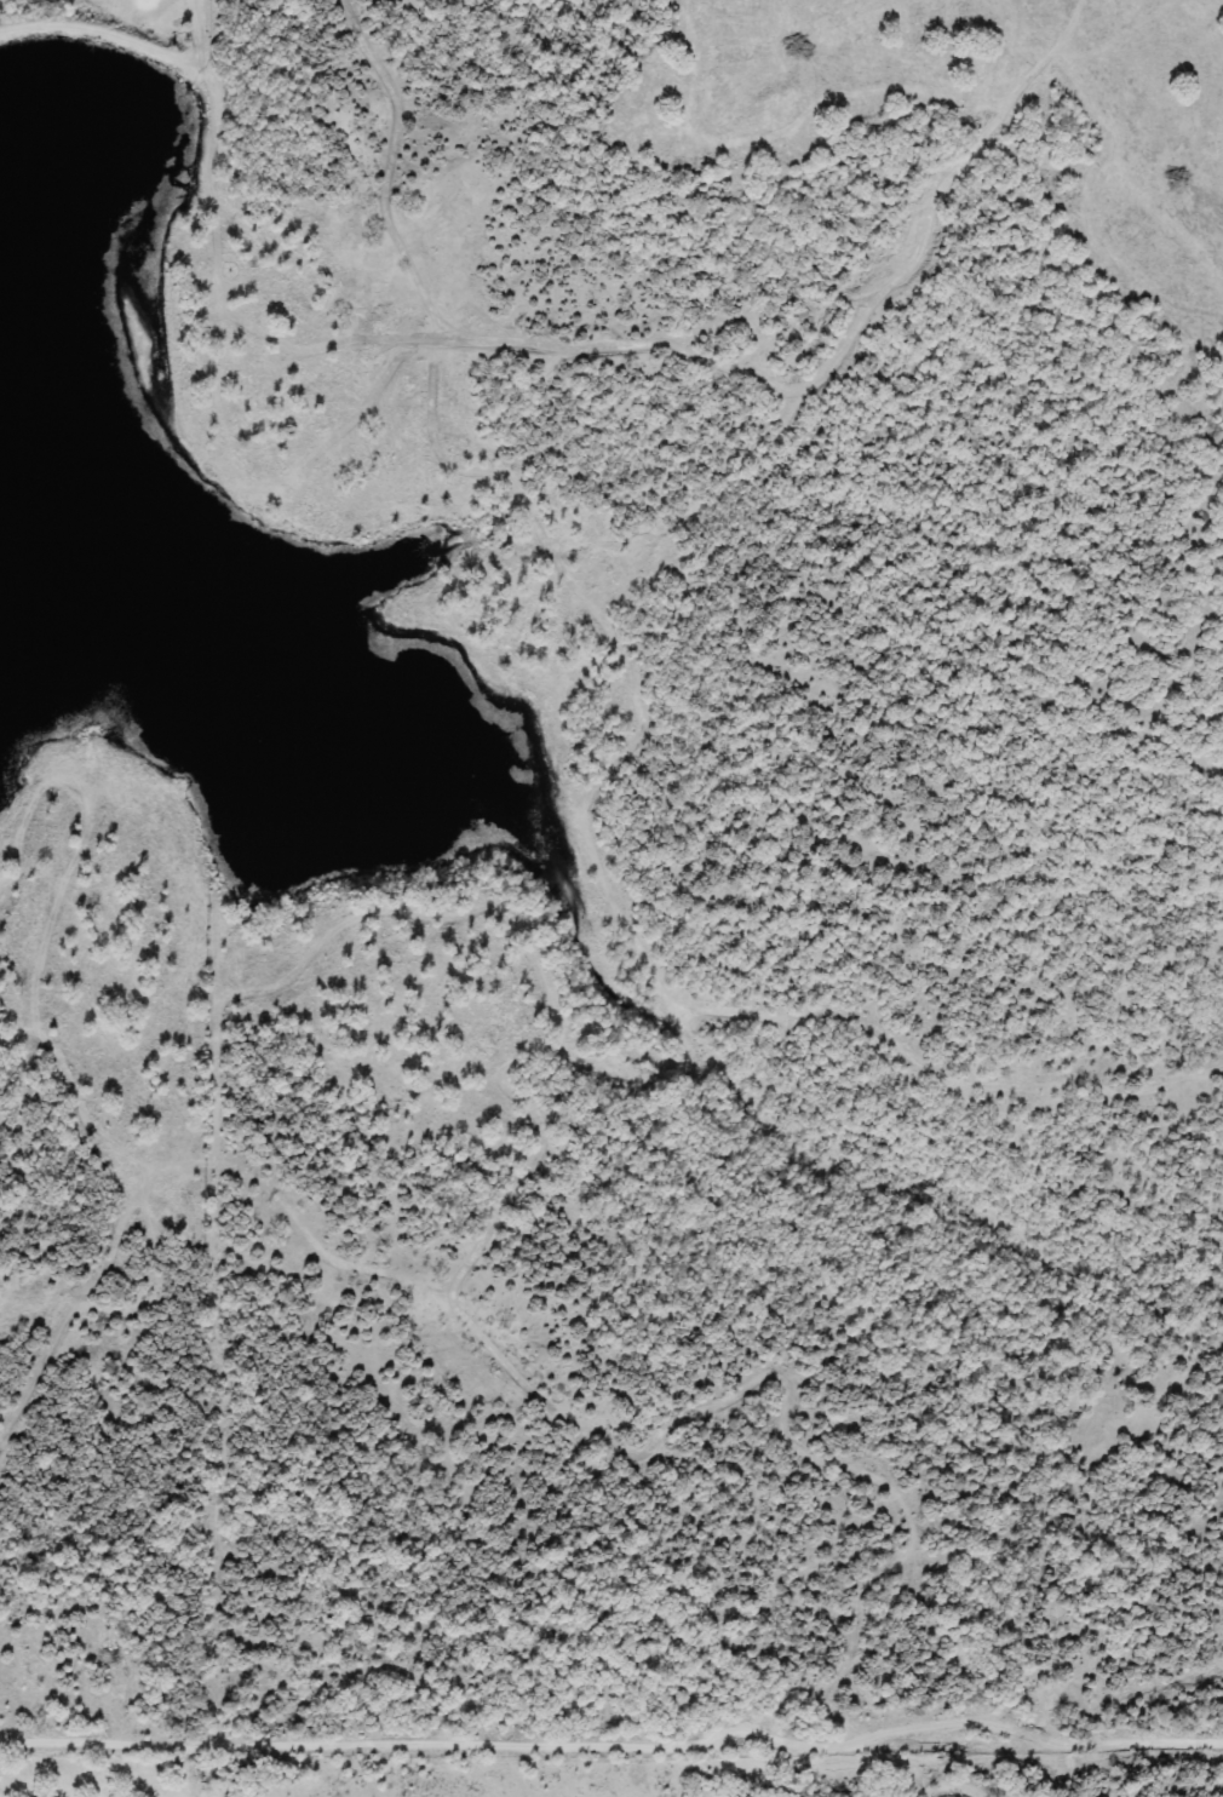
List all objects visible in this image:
dam: (104, 31)

